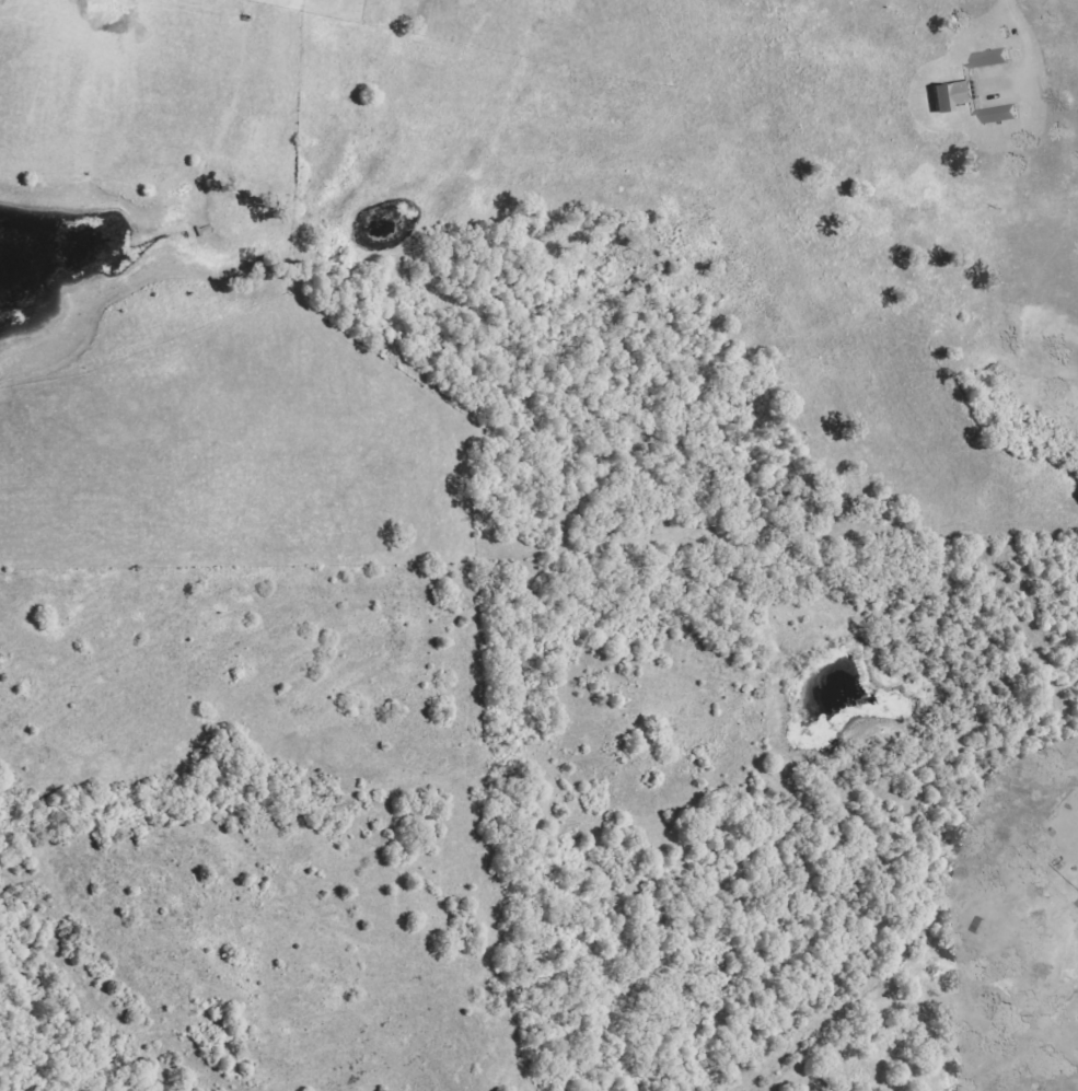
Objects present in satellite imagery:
road: (1028, 24)
building: (981, 92)
building: (981, 926)

